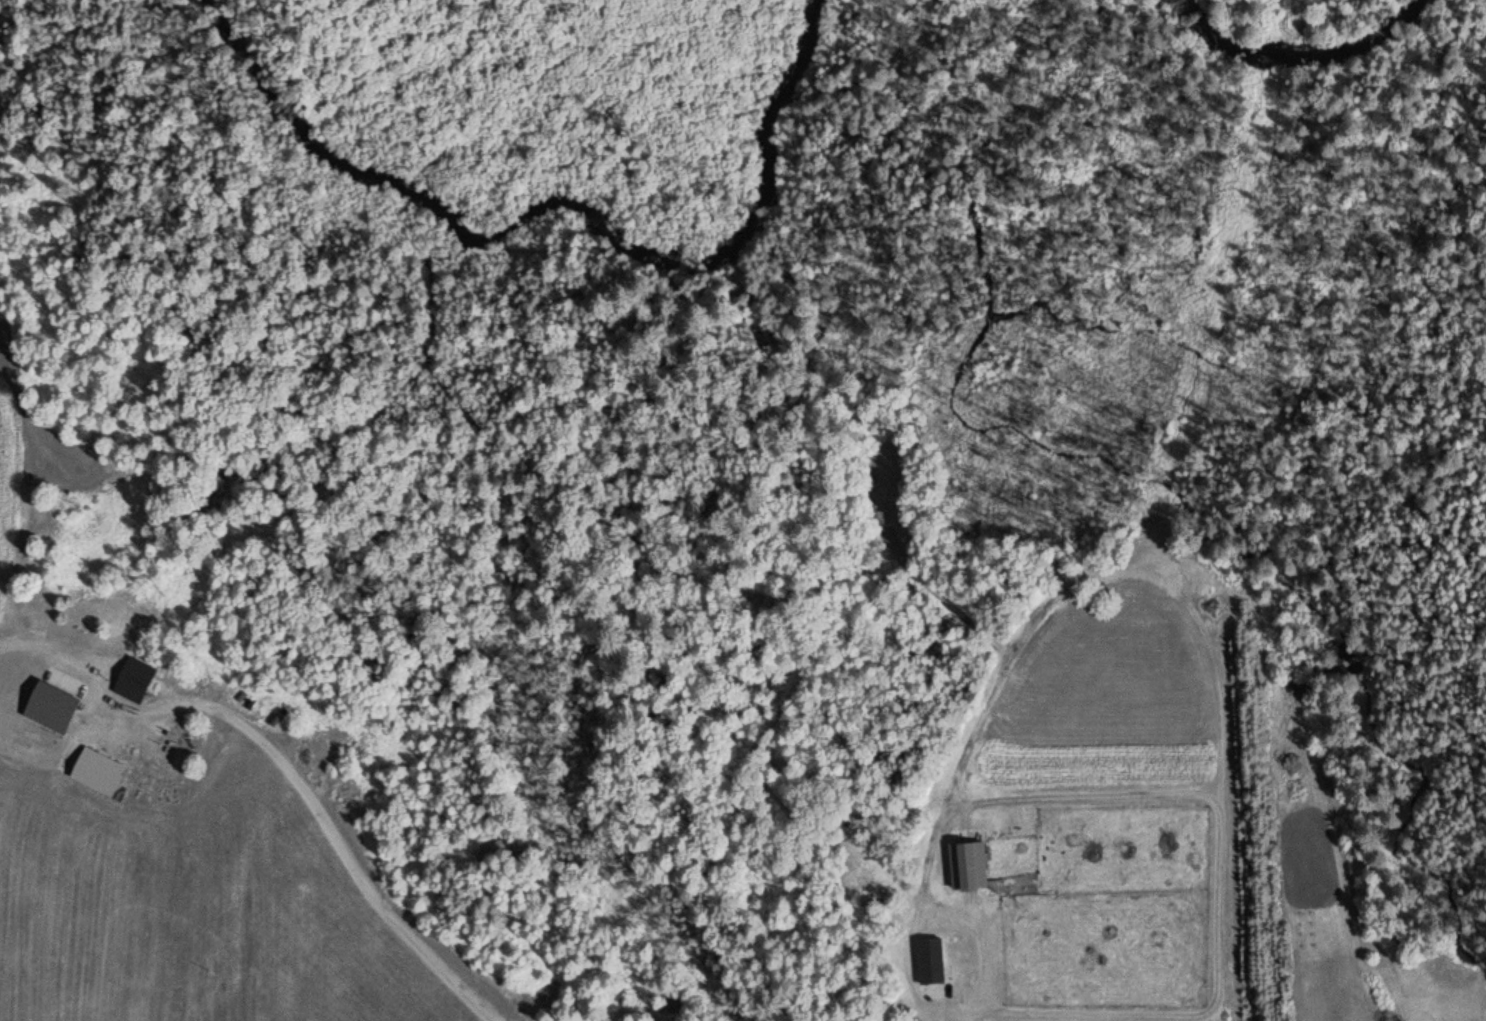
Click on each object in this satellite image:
building: (133, 612)
building: (131, 679)
building: (46, 707)
road: (290, 770)
building: (957, 866)
road: (918, 896)
building: (927, 959)
building: (668, 1002)

